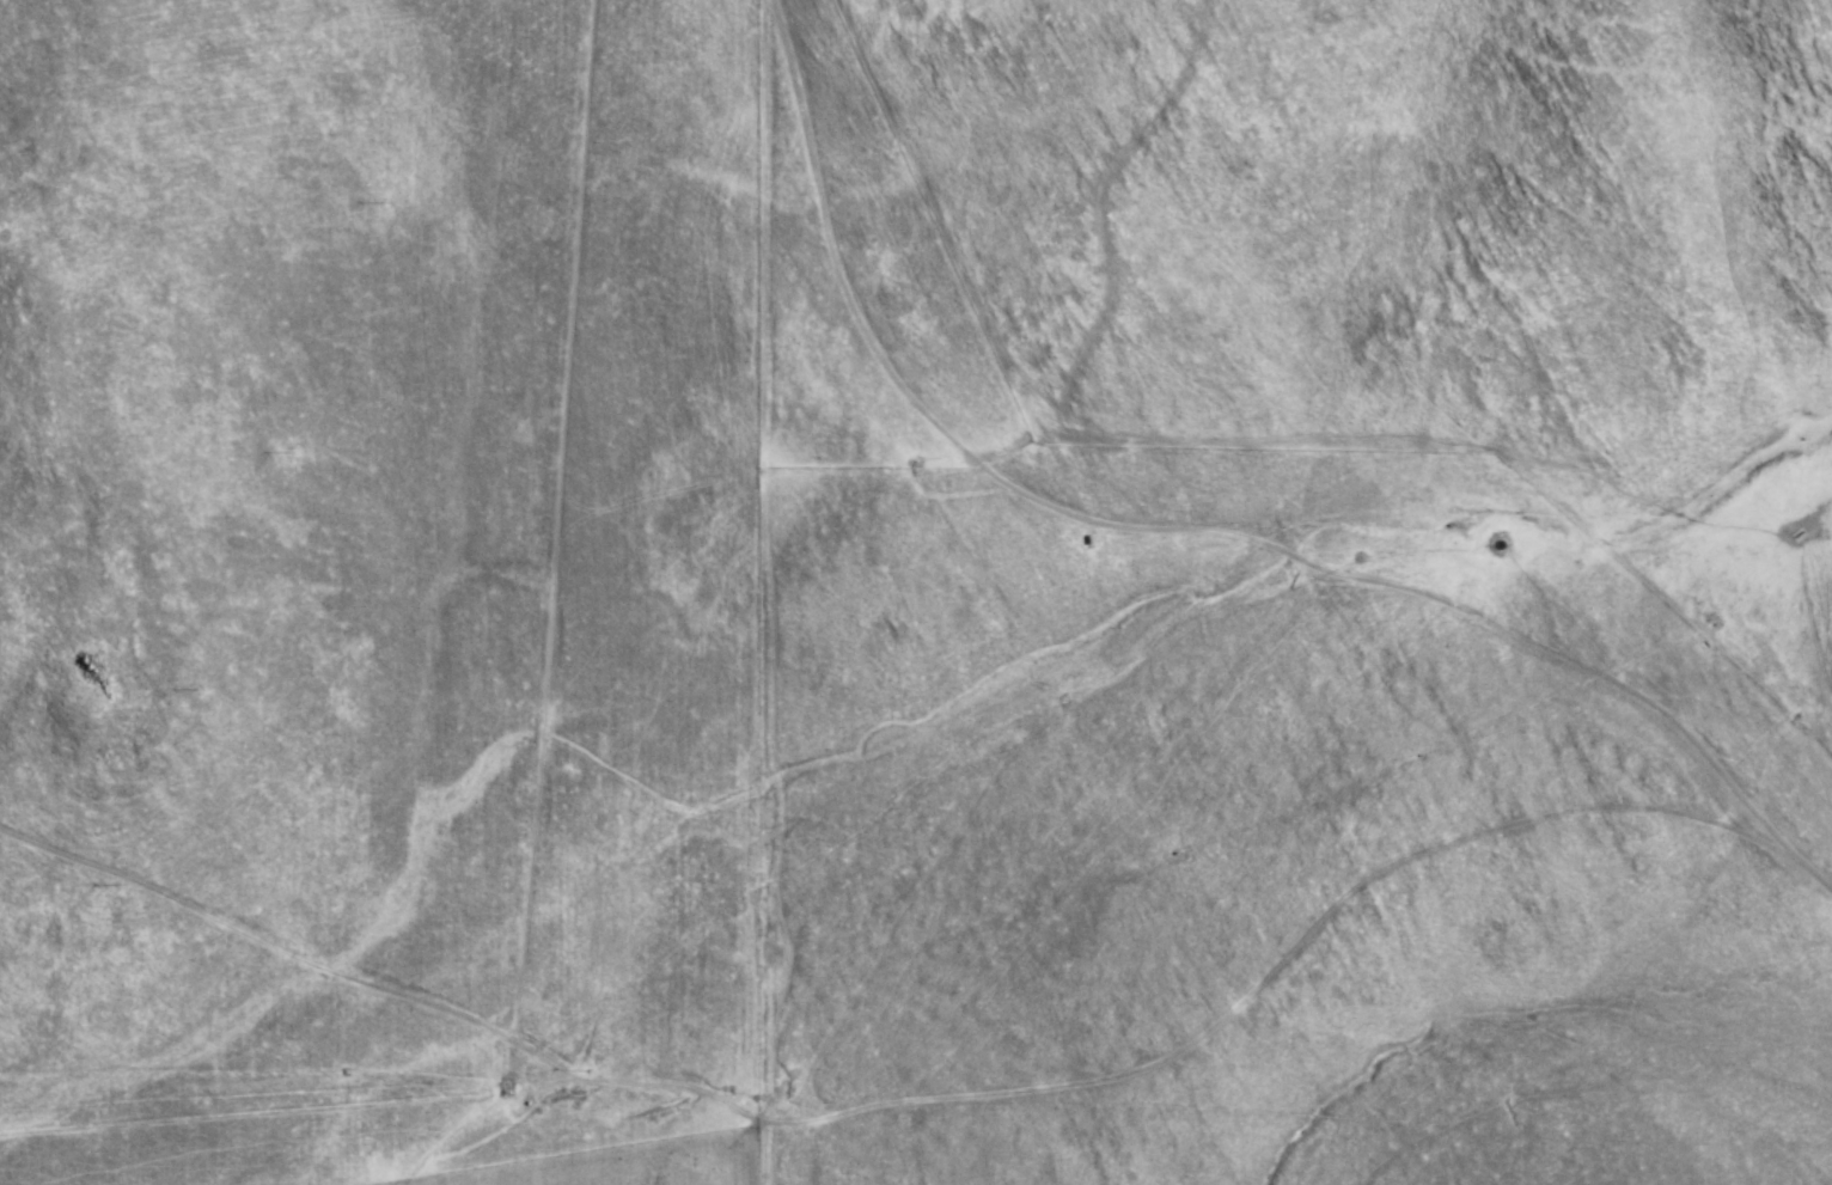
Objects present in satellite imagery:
road: (1197, 531)

